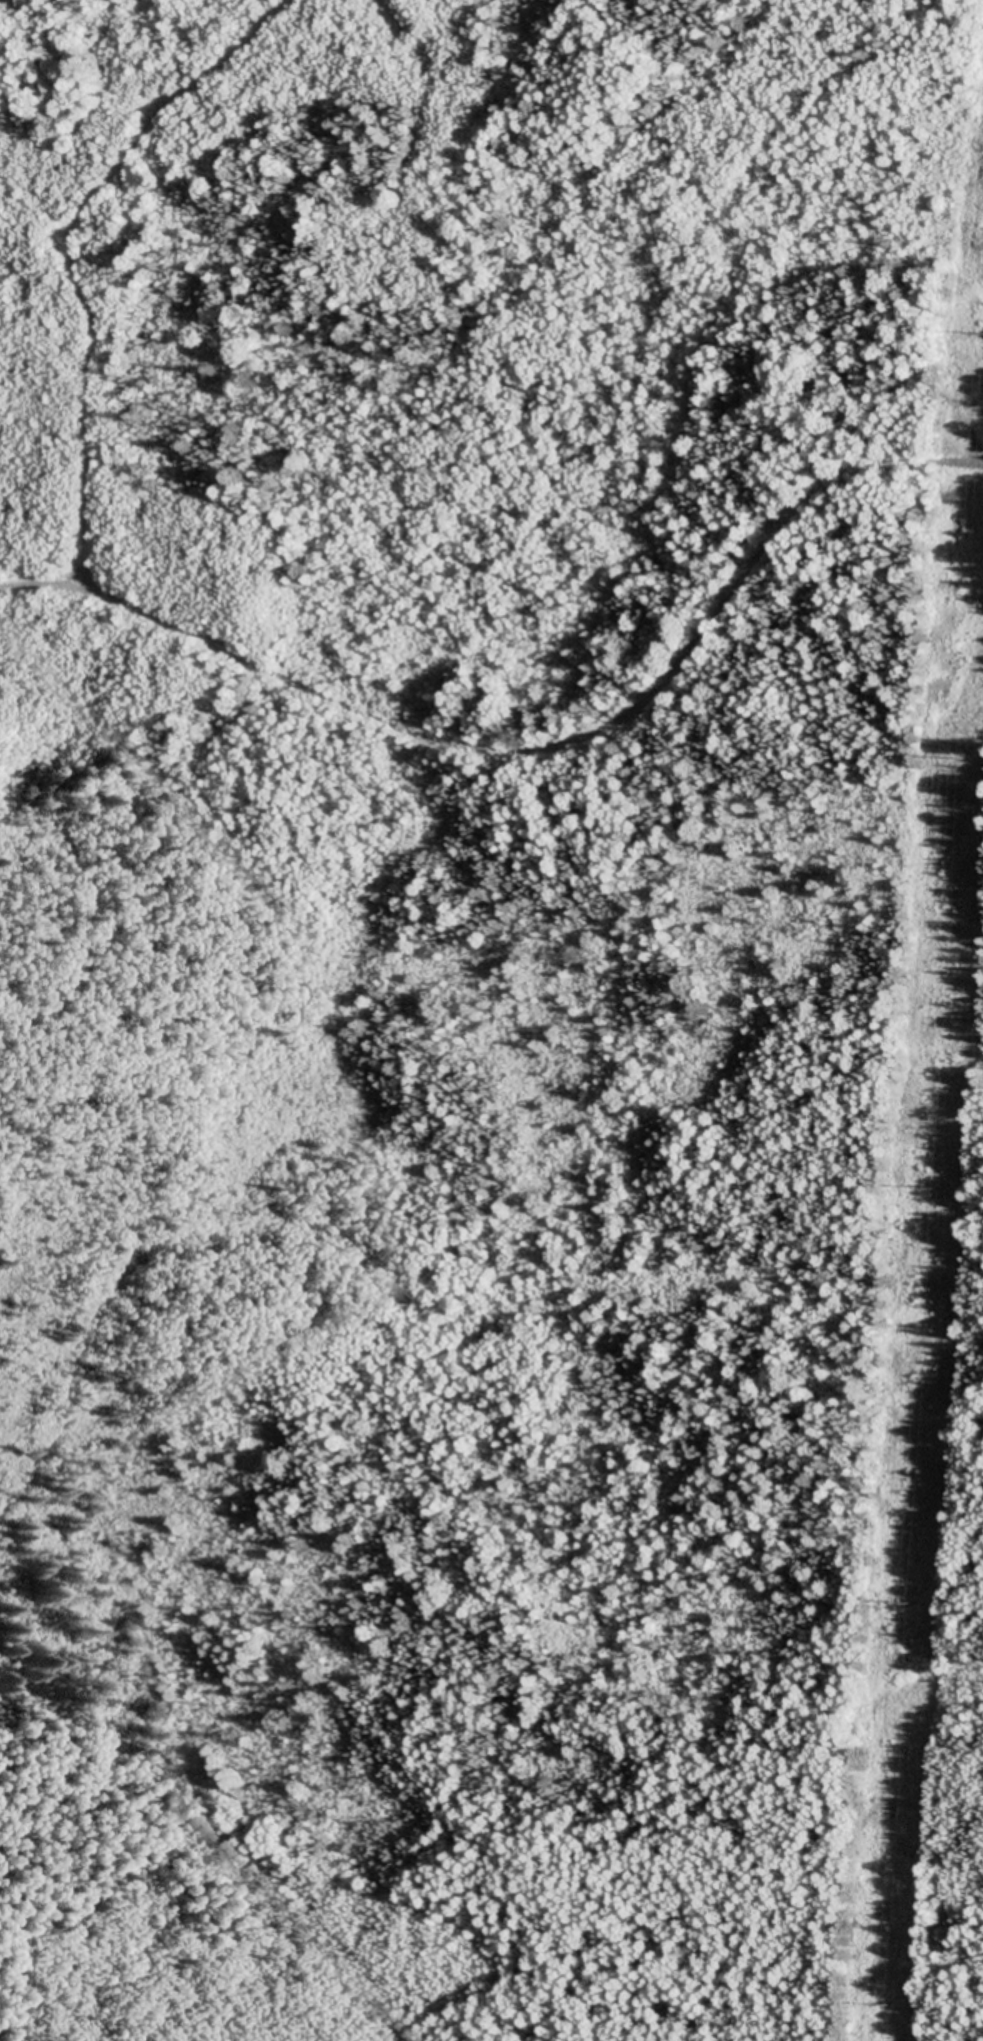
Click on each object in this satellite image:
power tower: (982, 337)
road: (534, 748)
power tower: (955, 759)
power tower: (933, 1192)
power tower: (904, 1602)
power tower: (882, 2005)

